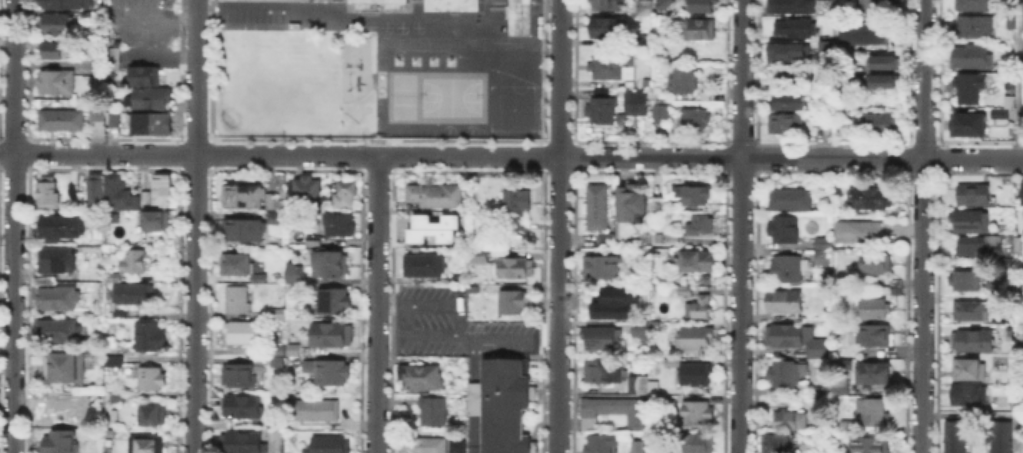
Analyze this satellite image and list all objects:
building: (67, 3)
building: (361, 3)
building: (665, 4)
building: (453, 5)
building: (609, 5)
road: (246, 6)
building: (703, 6)
building: (790, 6)
building: (974, 6)
building: (877, 7)
building: (645, 8)
building: (517, 16)
road: (166, 19)
building: (58, 26)
building: (975, 27)
building: (608, 29)
building: (698, 29)
building: (795, 29)
building: (864, 35)
building: (645, 44)
building: (57, 52)
road: (140, 52)
building: (788, 53)
building: (971, 55)
building: (117, 59)
building: (884, 62)
building: (613, 66)
building: (792, 71)
building: (144, 77)
park: (271, 79)
building: (53, 80)
building: (643, 81)
building: (684, 82)
building: (883, 83)
building: (1010, 83)
building: (971, 90)
park: (402, 95)
park: (450, 95)
building: (703, 97)
building: (153, 99)
building: (1007, 100)
building: (790, 101)
building: (633, 102)
building: (600, 110)
building: (95, 112)
building: (997, 112)
building: (659, 113)
road: (1017, 115)
building: (618, 117)
building: (58, 118)
building: (696, 120)
building: (116, 121)
building: (965, 123)
building: (153, 125)
building: (786, 125)
building: (825, 125)
building: (881, 125)
road: (511, 156)
building: (308, 189)
building: (163, 190)
building: (348, 190)
building: (96, 191)
building: (49, 192)
building: (116, 193)
building: (974, 194)
building: (1022, 194)
building: (245, 195)
building: (694, 195)
building: (146, 197)
building: (436, 197)
building: (869, 198)
building: (272, 200)
building: (791, 200)
building: (137, 202)
building: (631, 204)
building: (595, 206)
building: (517, 210)
building: (276, 219)
building: (434, 220)
building: (156, 221)
building: (972, 221)
building: (340, 225)
building: (699, 225)
road: (13, 226)
building: (60, 226)
road: (194, 226)
road: (558, 226)
road: (740, 226)
road: (922, 226)
building: (246, 231)
building: (784, 231)
building: (859, 233)
building: (429, 234)
building: (602, 238)
building: (313, 241)
building: (823, 242)
building: (979, 248)
building: (477, 255)
building: (824, 256)
building: (58, 259)
building: (136, 262)
building: (699, 262)
building: (1007, 262)
building: (239, 263)
building: (330, 263)
building: (877, 265)
building: (423, 266)
building: (602, 266)
building: (789, 268)
building: (518, 269)
building: (295, 275)
building: (967, 281)
building: (996, 288)
building: (686, 291)
building: (135, 294)
building: (57, 298)
building: (238, 300)
building: (785, 302)
building: (335, 303)
building: (513, 303)
road: (376, 304)
building: (604, 307)
building: (700, 308)
building: (874, 309)
building: (973, 312)
building: (277, 314)
building: (121, 317)
building: (61, 331)
building: (642, 331)
building: (1010, 333)
building: (244, 334)
building: (333, 336)
building: (876, 337)
building: (150, 338)
building: (602, 339)
building: (695, 339)
building: (797, 339)
building: (974, 342)
building: (278, 351)
building: (294, 351)
building: (113, 360)
building: (672, 363)
building: (65, 367)
building: (970, 371)
building: (329, 373)
building: (606, 373)
building: (696, 374)
building: (787, 374)
building: (875, 374)
building: (239, 377)
building: (422, 378)
building: (153, 380)
building: (641, 385)
building: (655, 387)
building: (842, 388)
building: (823, 391)
road: (1017, 393)
building: (971, 397)
building: (119, 401)
building: (661, 403)
building: (501, 404)
building: (242, 407)
building: (61, 408)
building: (614, 410)
building: (315, 411)
building: (434, 413)
building: (698, 413)
building: (873, 413)
building: (155, 417)
building: (792, 422)
building: (999, 436)
building: (957, 437)
building: (61, 442)
building: (242, 443)
building: (867, 443)
building: (332, 444)
building: (420, 444)
building: (604, 444)
building: (700, 444)
building: (148, 445)
building: (454, 445)
building: (779, 445)
building: (638, 447)

